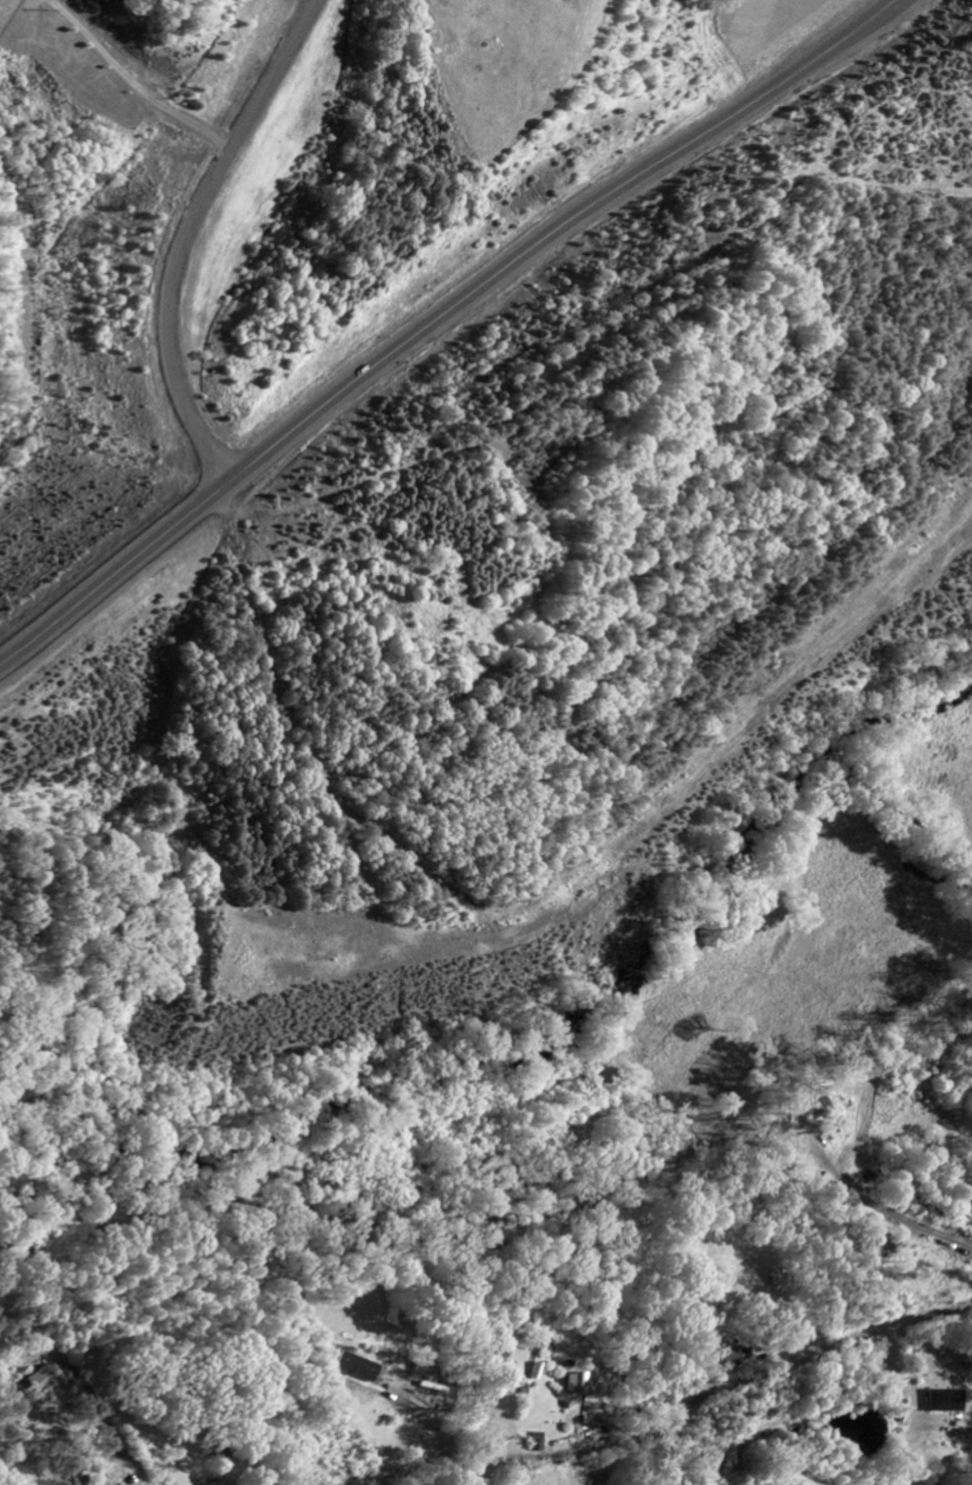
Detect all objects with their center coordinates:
road: (173, 234)
road: (454, 324)
building: (773, 1279)
building: (738, 1356)
building: (358, 1369)
building: (532, 1374)
building: (38, 1381)
building: (945, 1402)
road: (678, 1413)
building: (536, 1444)
building: (222, 1482)

